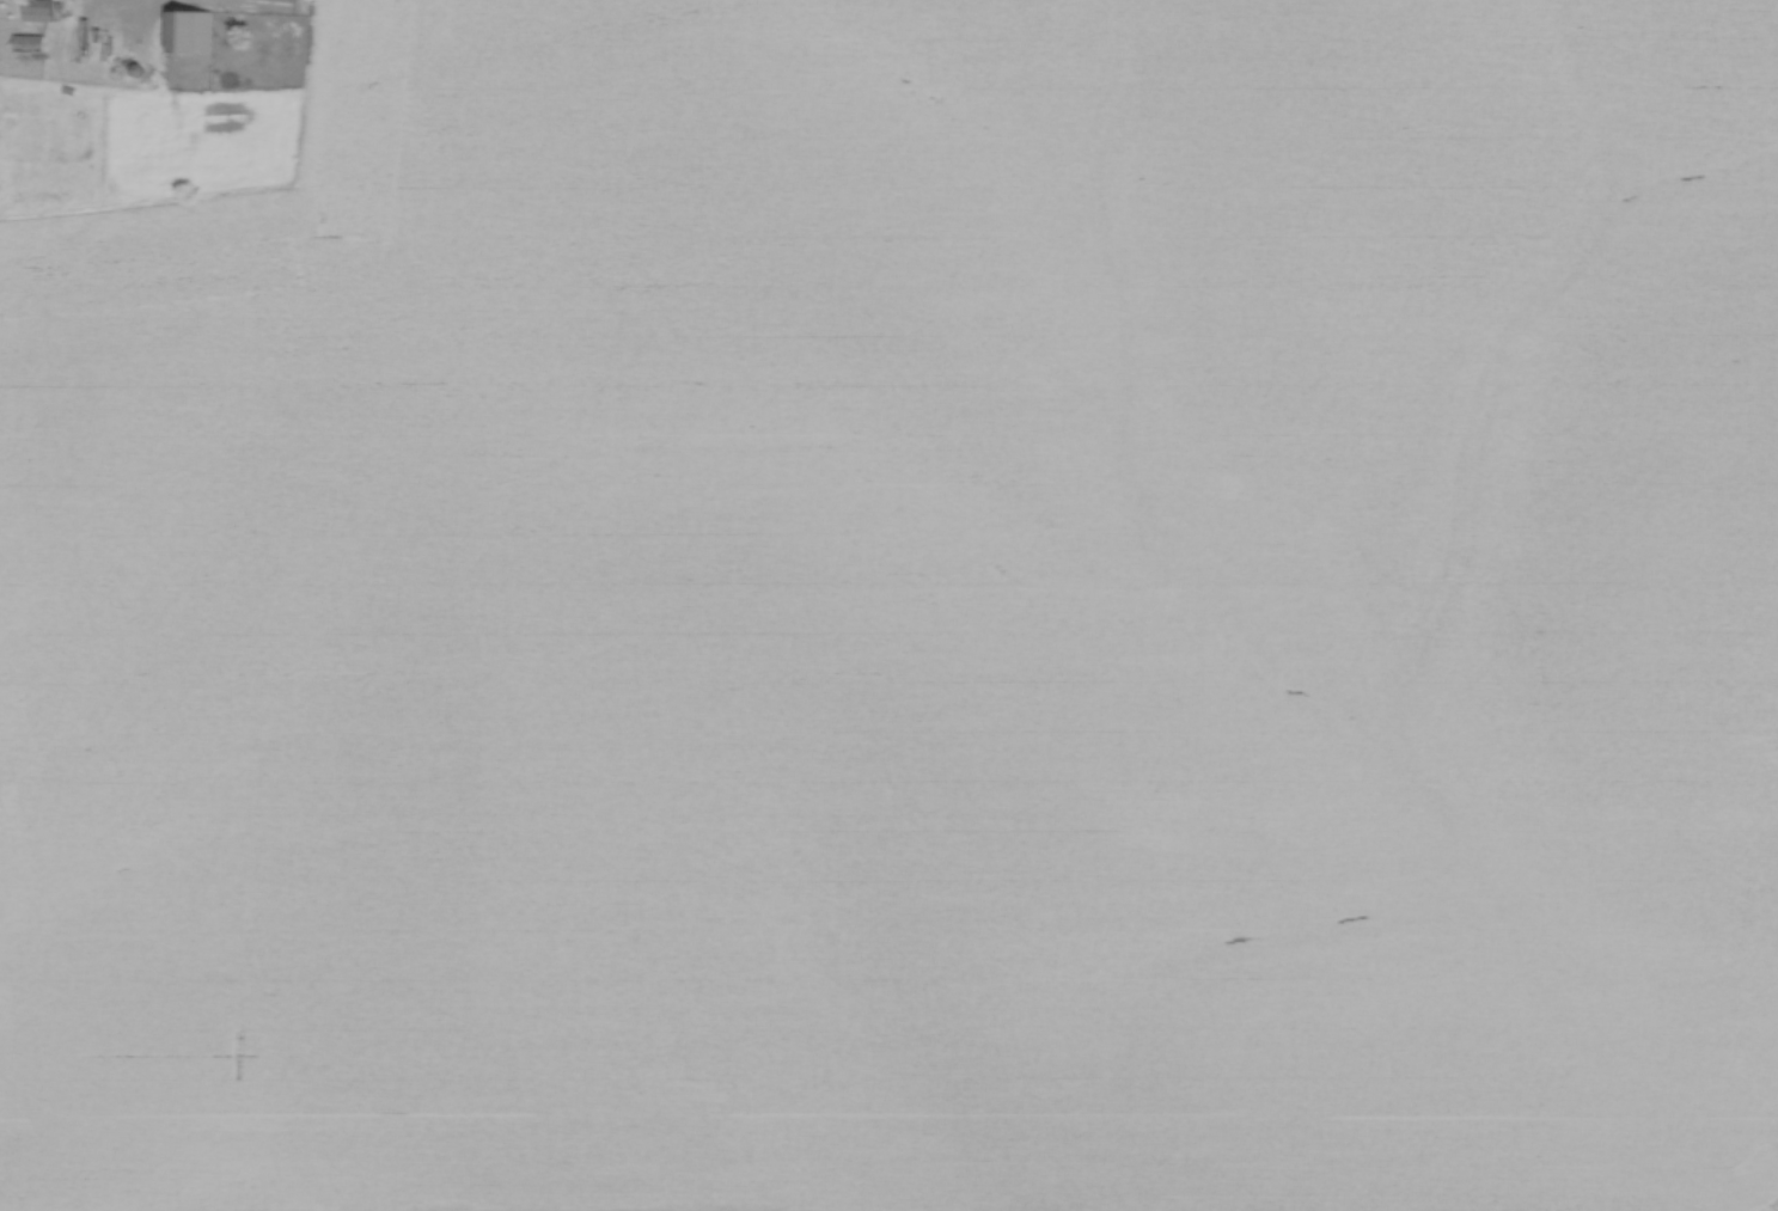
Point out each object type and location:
building: (190, 30)
building: (29, 41)

